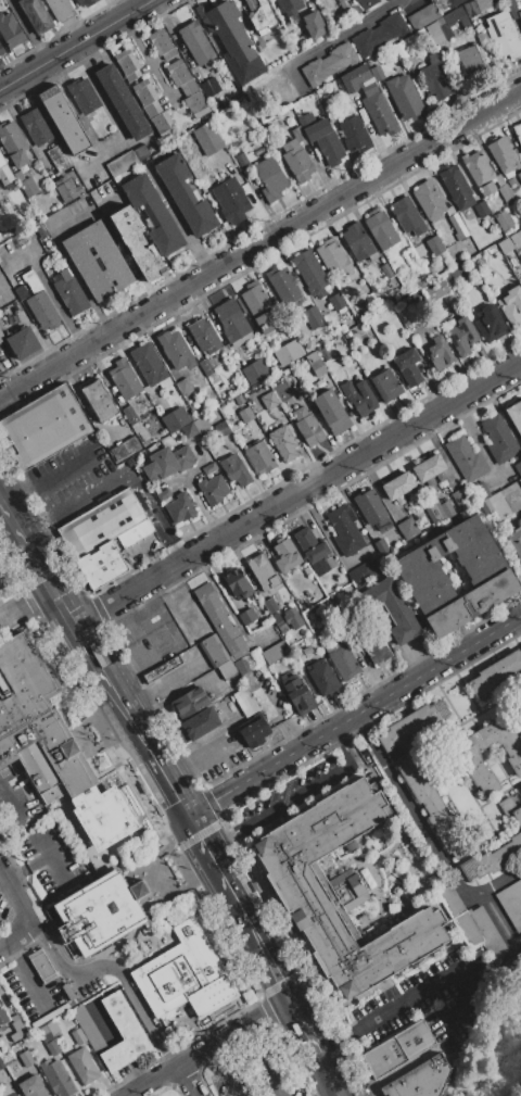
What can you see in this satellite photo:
building: (85, 2)
building: (452, 3)
building: (363, 4)
building: (482, 4)
building: (289, 7)
building: (60, 9)
building: (470, 9)
building: (511, 9)
building: (258, 13)
building: (36, 15)
building: (519, 16)
building: (422, 17)
building: (456, 17)
building: (314, 25)
building: (10, 30)
road: (28, 30)
road: (347, 30)
building: (434, 33)
building: (380, 34)
building: (504, 35)
building: (483, 39)
building: (232, 41)
building: (196, 42)
road: (76, 43)
building: (161, 43)
building: (1, 50)
road: (148, 59)
building: (470, 61)
building: (127, 64)
building: (329, 64)
building: (377, 73)
building: (354, 78)
building: (435, 79)
building: (208, 87)
building: (188, 88)
building: (82, 96)
building: (405, 97)
building: (123, 102)
road: (251, 106)
building: (153, 108)
building: (379, 113)
building: (64, 119)
building: (36, 126)
building: (517, 131)
building: (355, 135)
building: (207, 138)
building: (321, 138)
building: (13, 144)
building: (140, 152)
building: (501, 156)
building: (58, 158)
building: (242, 161)
building: (296, 161)
building: (2, 162)
building: (122, 163)
building: (479, 172)
building: (17, 176)
building: (519, 176)
building: (270, 178)
building: (27, 187)
building: (456, 187)
building: (66, 189)
building: (186, 194)
building: (507, 194)
building: (0, 199)
building: (230, 200)
building: (437, 206)
building: (482, 209)
building: (153, 214)
building: (407, 216)
building: (55, 219)
building: (505, 221)
building: (520, 227)
building: (381, 229)
building: (516, 238)
building: (358, 241)
building: (137, 244)
road: (260, 244)
building: (434, 244)
building: (333, 257)
building: (411, 257)
building: (98, 260)
building: (479, 262)
building: (447, 263)
building: (386, 270)
building: (310, 273)
building: (284, 287)
building: (20, 290)
building: (439, 290)
building: (71, 293)
building: (336, 301)
building: (511, 305)
building: (260, 308)
building: (42, 311)
building: (313, 313)
building: (231, 320)
building: (491, 324)
building: (2, 333)
building: (204, 335)
building: (365, 335)
building: (462, 337)
building: (23, 342)
building: (176, 350)
building: (288, 352)
building: (440, 353)
building: (149, 364)
building: (316, 364)
building: (206, 367)
building: (408, 367)
building: (255, 370)
building: (124, 378)
building: (386, 385)
building: (185, 387)
building: (359, 396)
building: (239, 400)
building: (269, 400)
building: (100, 401)
building: (332, 412)
building: (279, 413)
building: (300, 413)
building: (245, 414)
building: (129, 415)
building: (516, 415)
building: (176, 419)
building: (150, 421)
building: (43, 427)
building: (251, 427)
building: (221, 428)
building: (189, 430)
building: (309, 430)
building: (498, 439)
building: (283, 442)
building: (125, 449)
building: (259, 456)
building: (466, 458)
building: (167, 463)
building: (518, 467)
building: (208, 468)
building: (429, 468)
building: (236, 469)
road: (43, 476)
building: (520, 481)
building: (398, 487)
building: (213, 489)
building: (478, 491)
road: (297, 492)
building: (163, 495)
building: (461, 497)
road: (71, 502)
building: (498, 505)
building: (369, 506)
building: (485, 507)
building: (180, 508)
building: (447, 508)
building: (433, 511)
building: (101, 524)
building: (407, 529)
building: (344, 530)
building: (132, 533)
building: (516, 541)
building: (313, 551)
building: (285, 554)
building: (102, 564)
building: (263, 571)
building: (363, 572)
building: (457, 576)
building: (238, 583)
road: (26, 602)
building: (270, 606)
building: (393, 609)
building: (247, 616)
building: (292, 617)
road: (520, 617)
building: (219, 618)
road: (78, 629)
building: (377, 650)
building: (213, 651)
building: (275, 652)
building: (343, 663)
building: (162, 669)
building: (227, 669)
building: (496, 672)
building: (323, 678)
road: (162, 681)
building: (300, 695)
building: (245, 702)
building: (189, 703)
road: (354, 715)
building: (200, 723)
building: (411, 723)
building: (253, 730)
building: (49, 741)
road: (200, 757)
building: (468, 758)
building: (520, 785)
road: (170, 789)
building: (520, 789)
road: (292, 794)
road: (9, 804)
building: (432, 806)
traffic signals: (187, 815)
building: (518, 815)
road: (193, 826)
road: (423, 832)
road: (39, 851)
building: (492, 858)
road: (23, 868)
building: (341, 893)
road: (16, 900)
building: (511, 904)
building: (99, 914)
road: (246, 917)
road: (500, 921)
building: (486, 932)
road: (15, 937)
road: (21, 963)
building: (41, 965)
road: (69, 970)
building: (185, 975)
road: (427, 987)
road: (41, 1000)
road: (145, 1012)
building: (3, 1015)
road: (307, 1023)
building: (94, 1024)
building: (20, 1029)
road: (191, 1031)
building: (123, 1033)
road: (246, 1034)
building: (78, 1036)
building: (414, 1040)
road: (333, 1044)
road: (211, 1046)
building: (52, 1048)
road: (212, 1054)
building: (384, 1057)
building: (26, 1058)
road: (173, 1058)
building: (82, 1066)
road: (265, 1069)
parking lot: (253, 1071)
road: (333, 1073)
building: (56, 1078)
road: (225, 1078)
road: (190, 1080)
building: (420, 1080)
building: (33, 1086)
building: (296, 1091)
building: (12, 1094)

